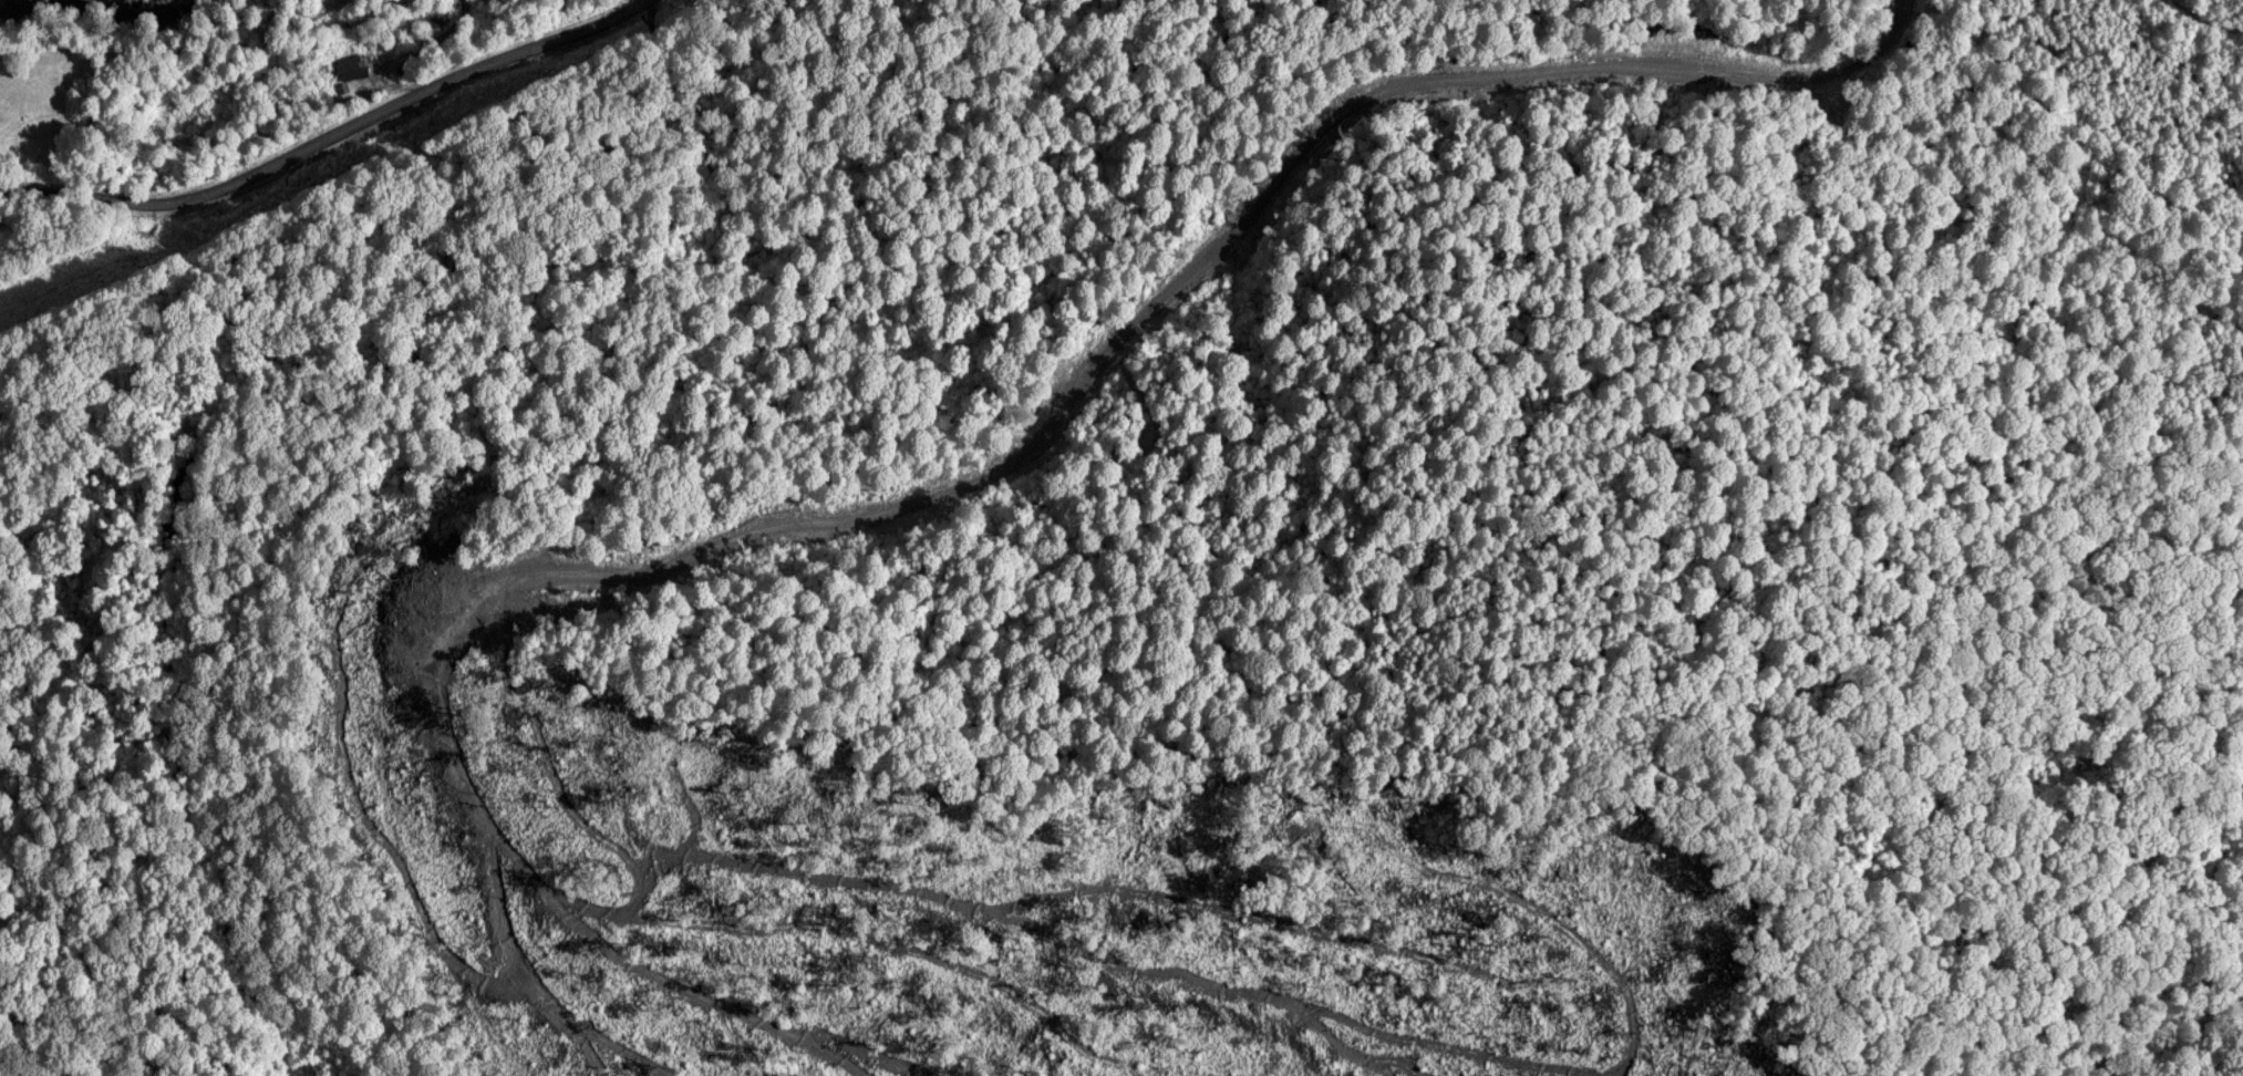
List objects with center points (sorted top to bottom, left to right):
road: (319, 132)

